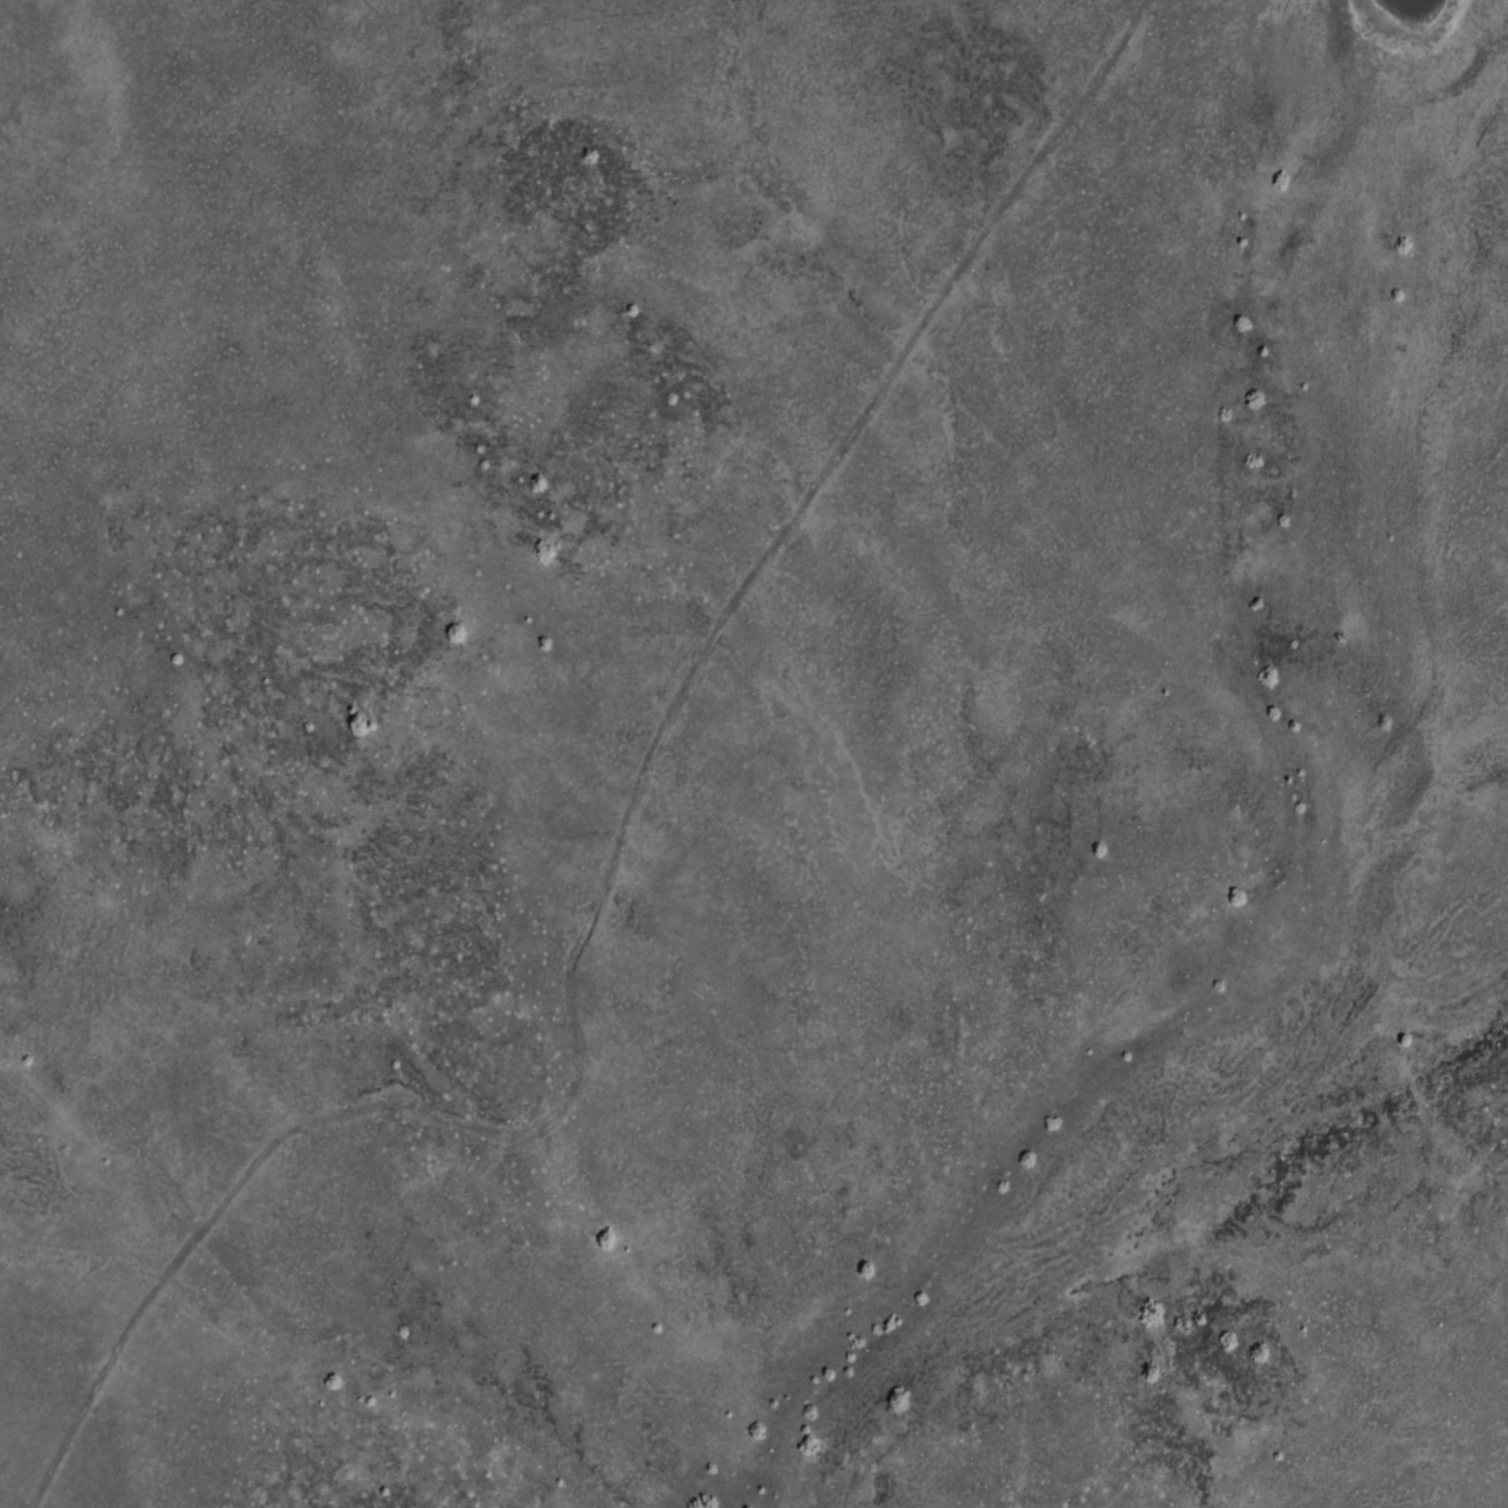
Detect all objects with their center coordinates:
road: (628, 857)

